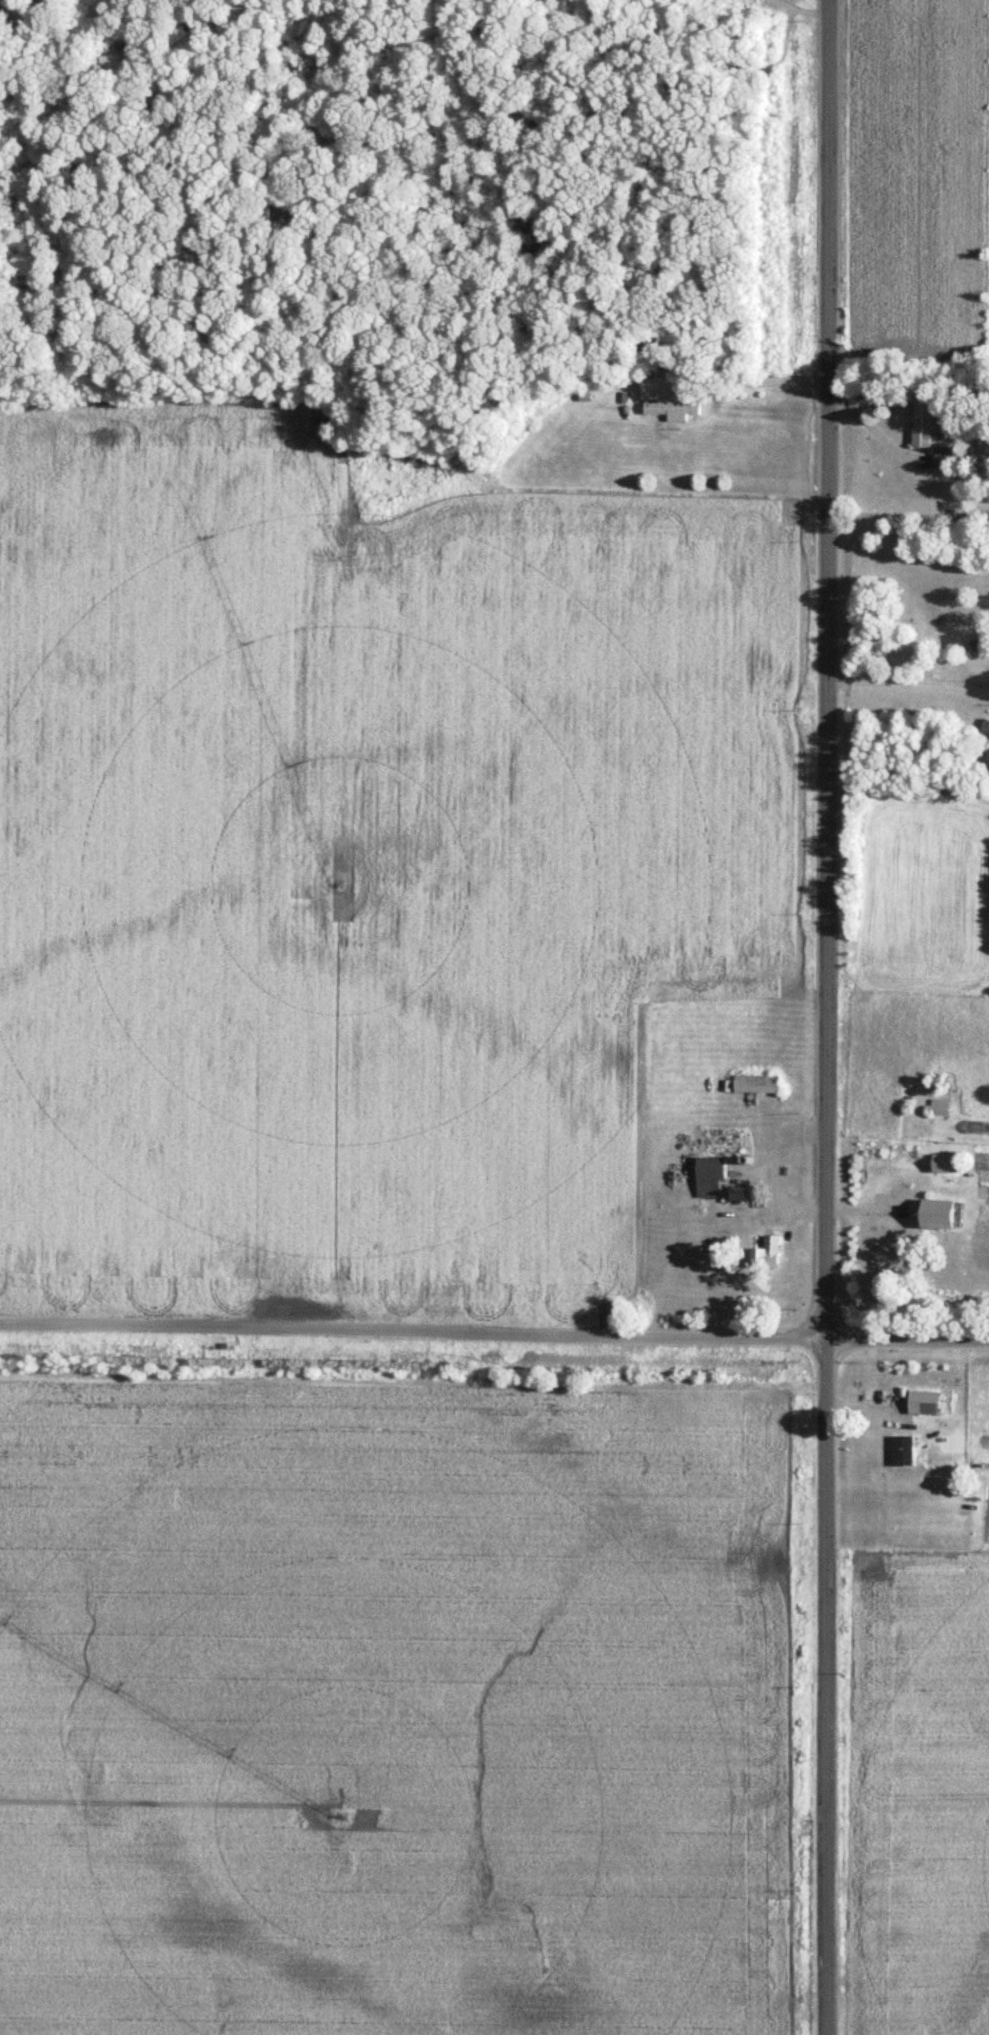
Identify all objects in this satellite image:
road: (743, 383)
building: (658, 392)
building: (670, 410)
building: (920, 426)
building: (941, 458)
road: (908, 686)
road: (827, 1017)
building: (755, 1084)
building: (938, 1107)
building: (943, 1164)
building: (709, 1169)
building: (735, 1194)
building: (937, 1215)
building: (765, 1253)
road: (494, 1338)
building: (921, 1402)
building: (901, 1450)

